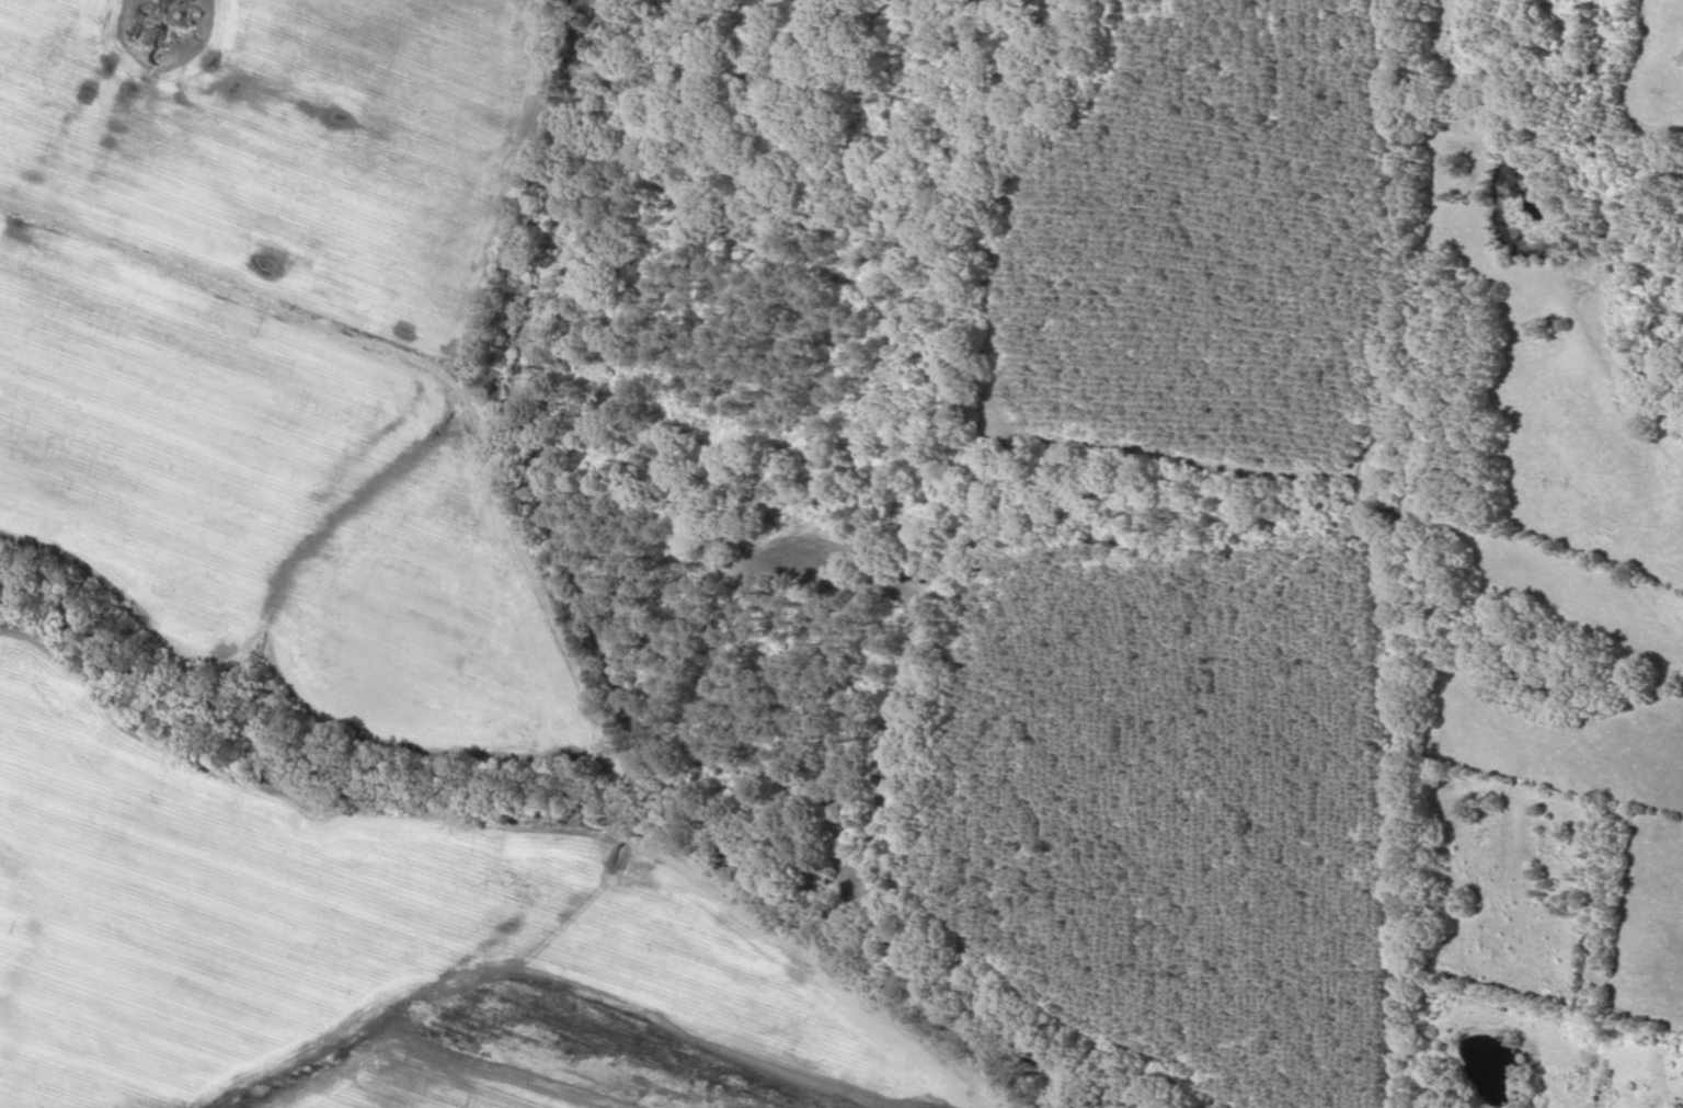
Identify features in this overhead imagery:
road: (1411, 665)

